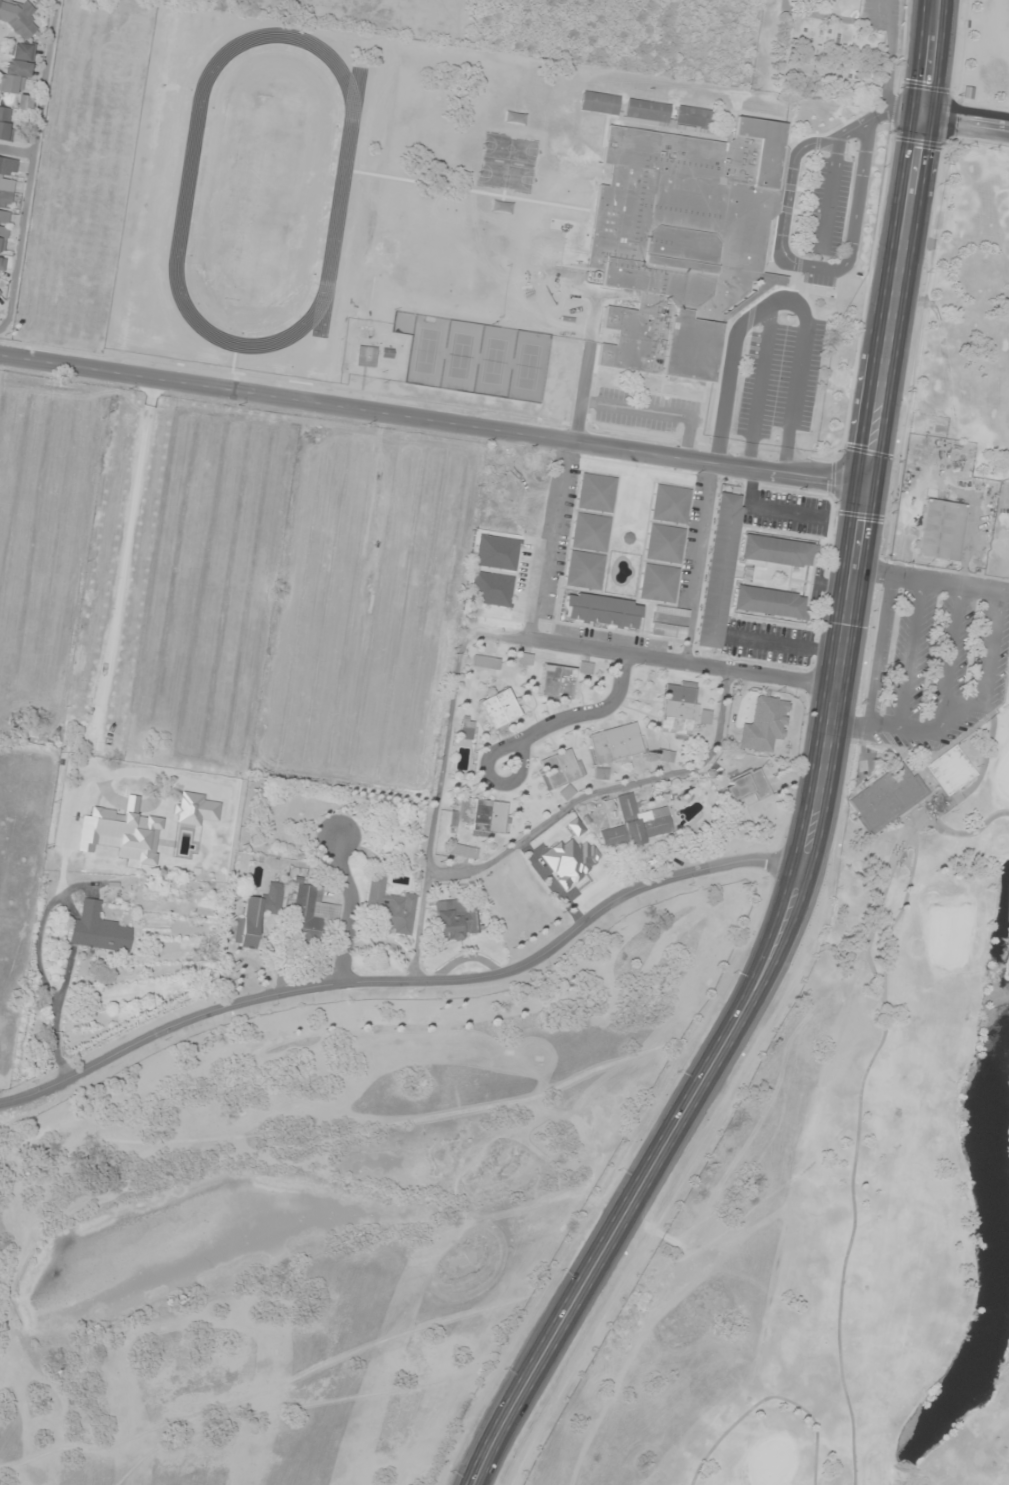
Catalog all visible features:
road: (886, 11)
building: (16, 13)
parking lot: (880, 13)
park: (817, 52)
road: (928, 60)
building: (17, 74)
building: (599, 103)
building: (646, 112)
road: (878, 115)
building: (692, 117)
traffic signals: (924, 121)
road: (966, 126)
building: (8, 128)
road: (829, 192)
building: (5, 201)
building: (684, 241)
road: (812, 266)
road: (782, 298)
park: (971, 298)
road: (593, 327)
building: (365, 356)
road: (759, 386)
road: (654, 411)
road: (436, 419)
traffic signals: (872, 485)
building: (596, 493)
building: (670, 504)
building: (939, 530)
road: (548, 539)
building: (664, 544)
building: (587, 551)
building: (777, 551)
building: (718, 571)
building: (658, 583)
road: (1003, 590)
building: (767, 602)
building: (601, 611)
building: (667, 631)
road: (912, 637)
road: (989, 646)
road: (951, 657)
road: (656, 658)
building: (524, 659)
building: (484, 662)
road: (875, 669)
building: (555, 681)
building: (497, 708)
building: (677, 708)
road: (579, 718)
building: (763, 725)
building: (465, 733)
building: (613, 744)
building: (663, 755)
building: (97, 758)
building: (559, 768)
building: (949, 770)
building: (745, 785)
building: (885, 798)
building: (479, 816)
building: (634, 825)
road: (808, 839)
building: (462, 851)
road: (346, 907)
building: (389, 907)
building: (310, 912)
building: (257, 914)
building: (454, 920)
building: (97, 930)
road: (404, 980)
park: (863, 1097)
park: (330, 1216)

